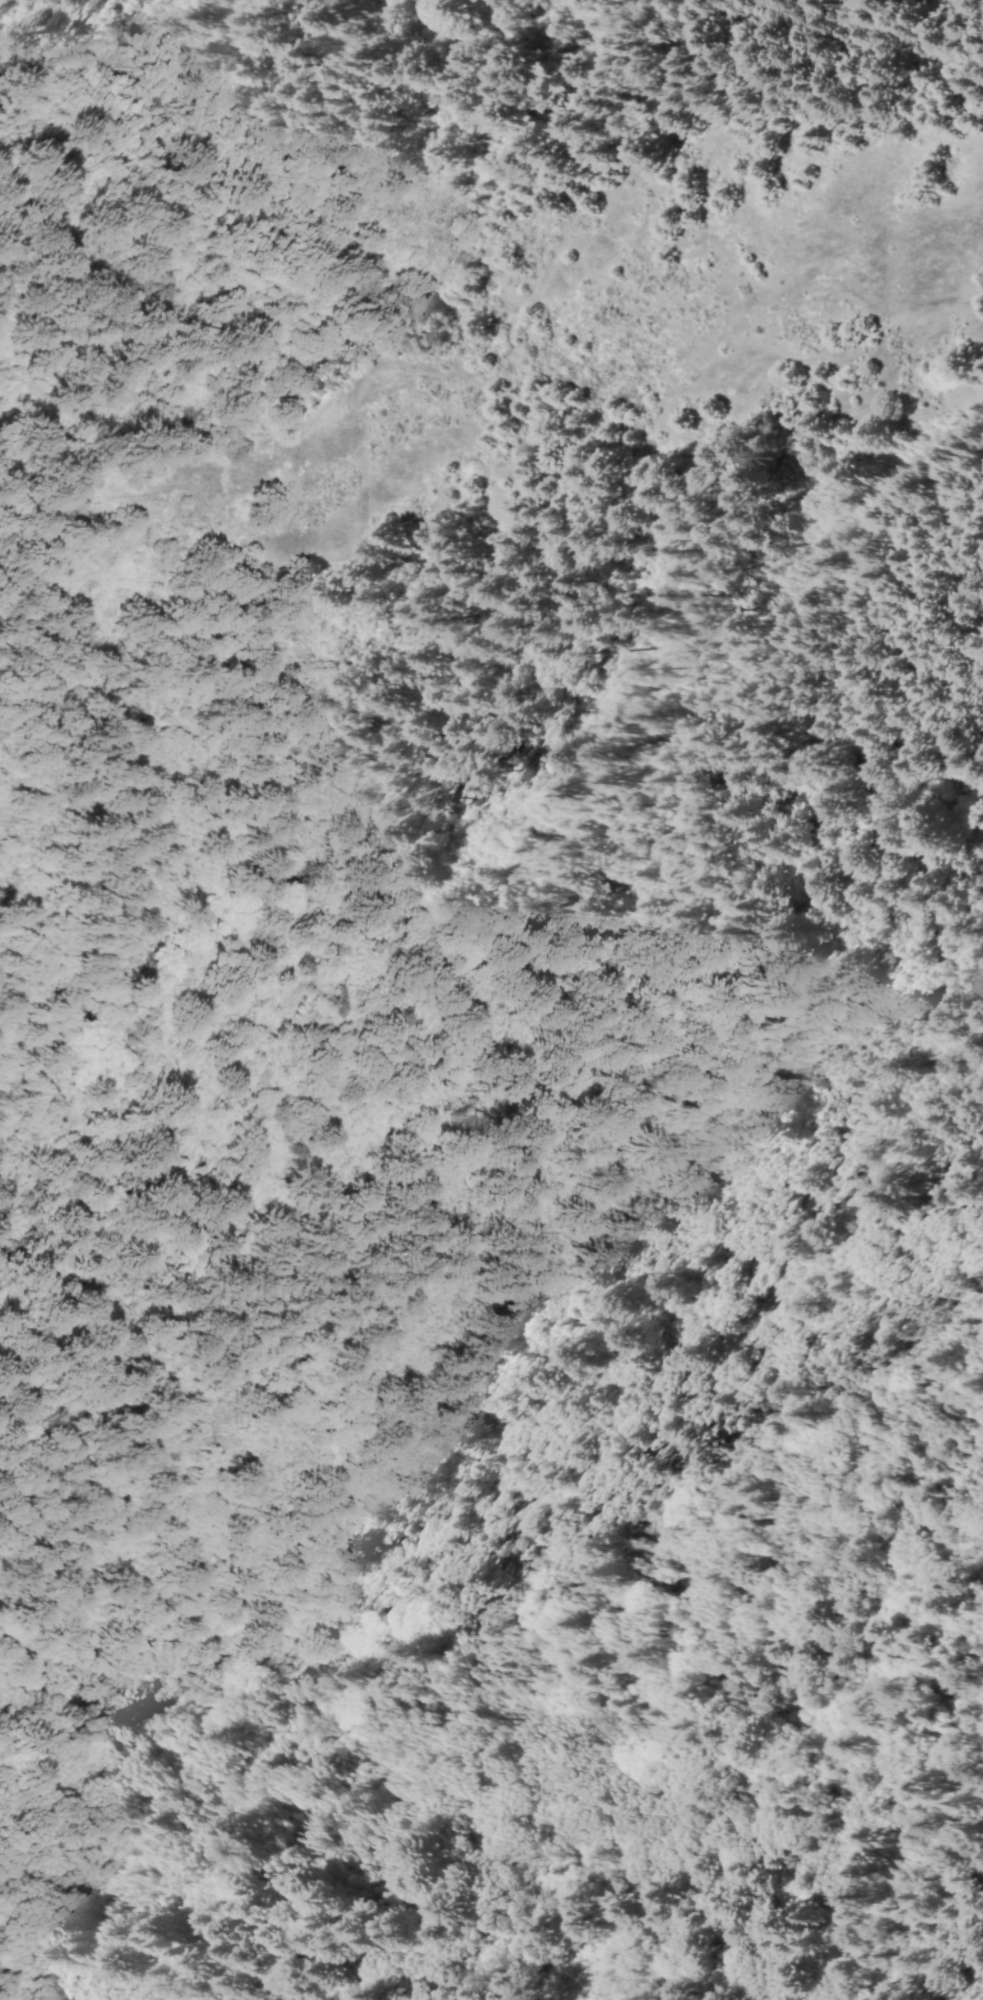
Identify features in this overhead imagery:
road: (469, 375)
road: (872, 1828)
road: (611, 1929)

